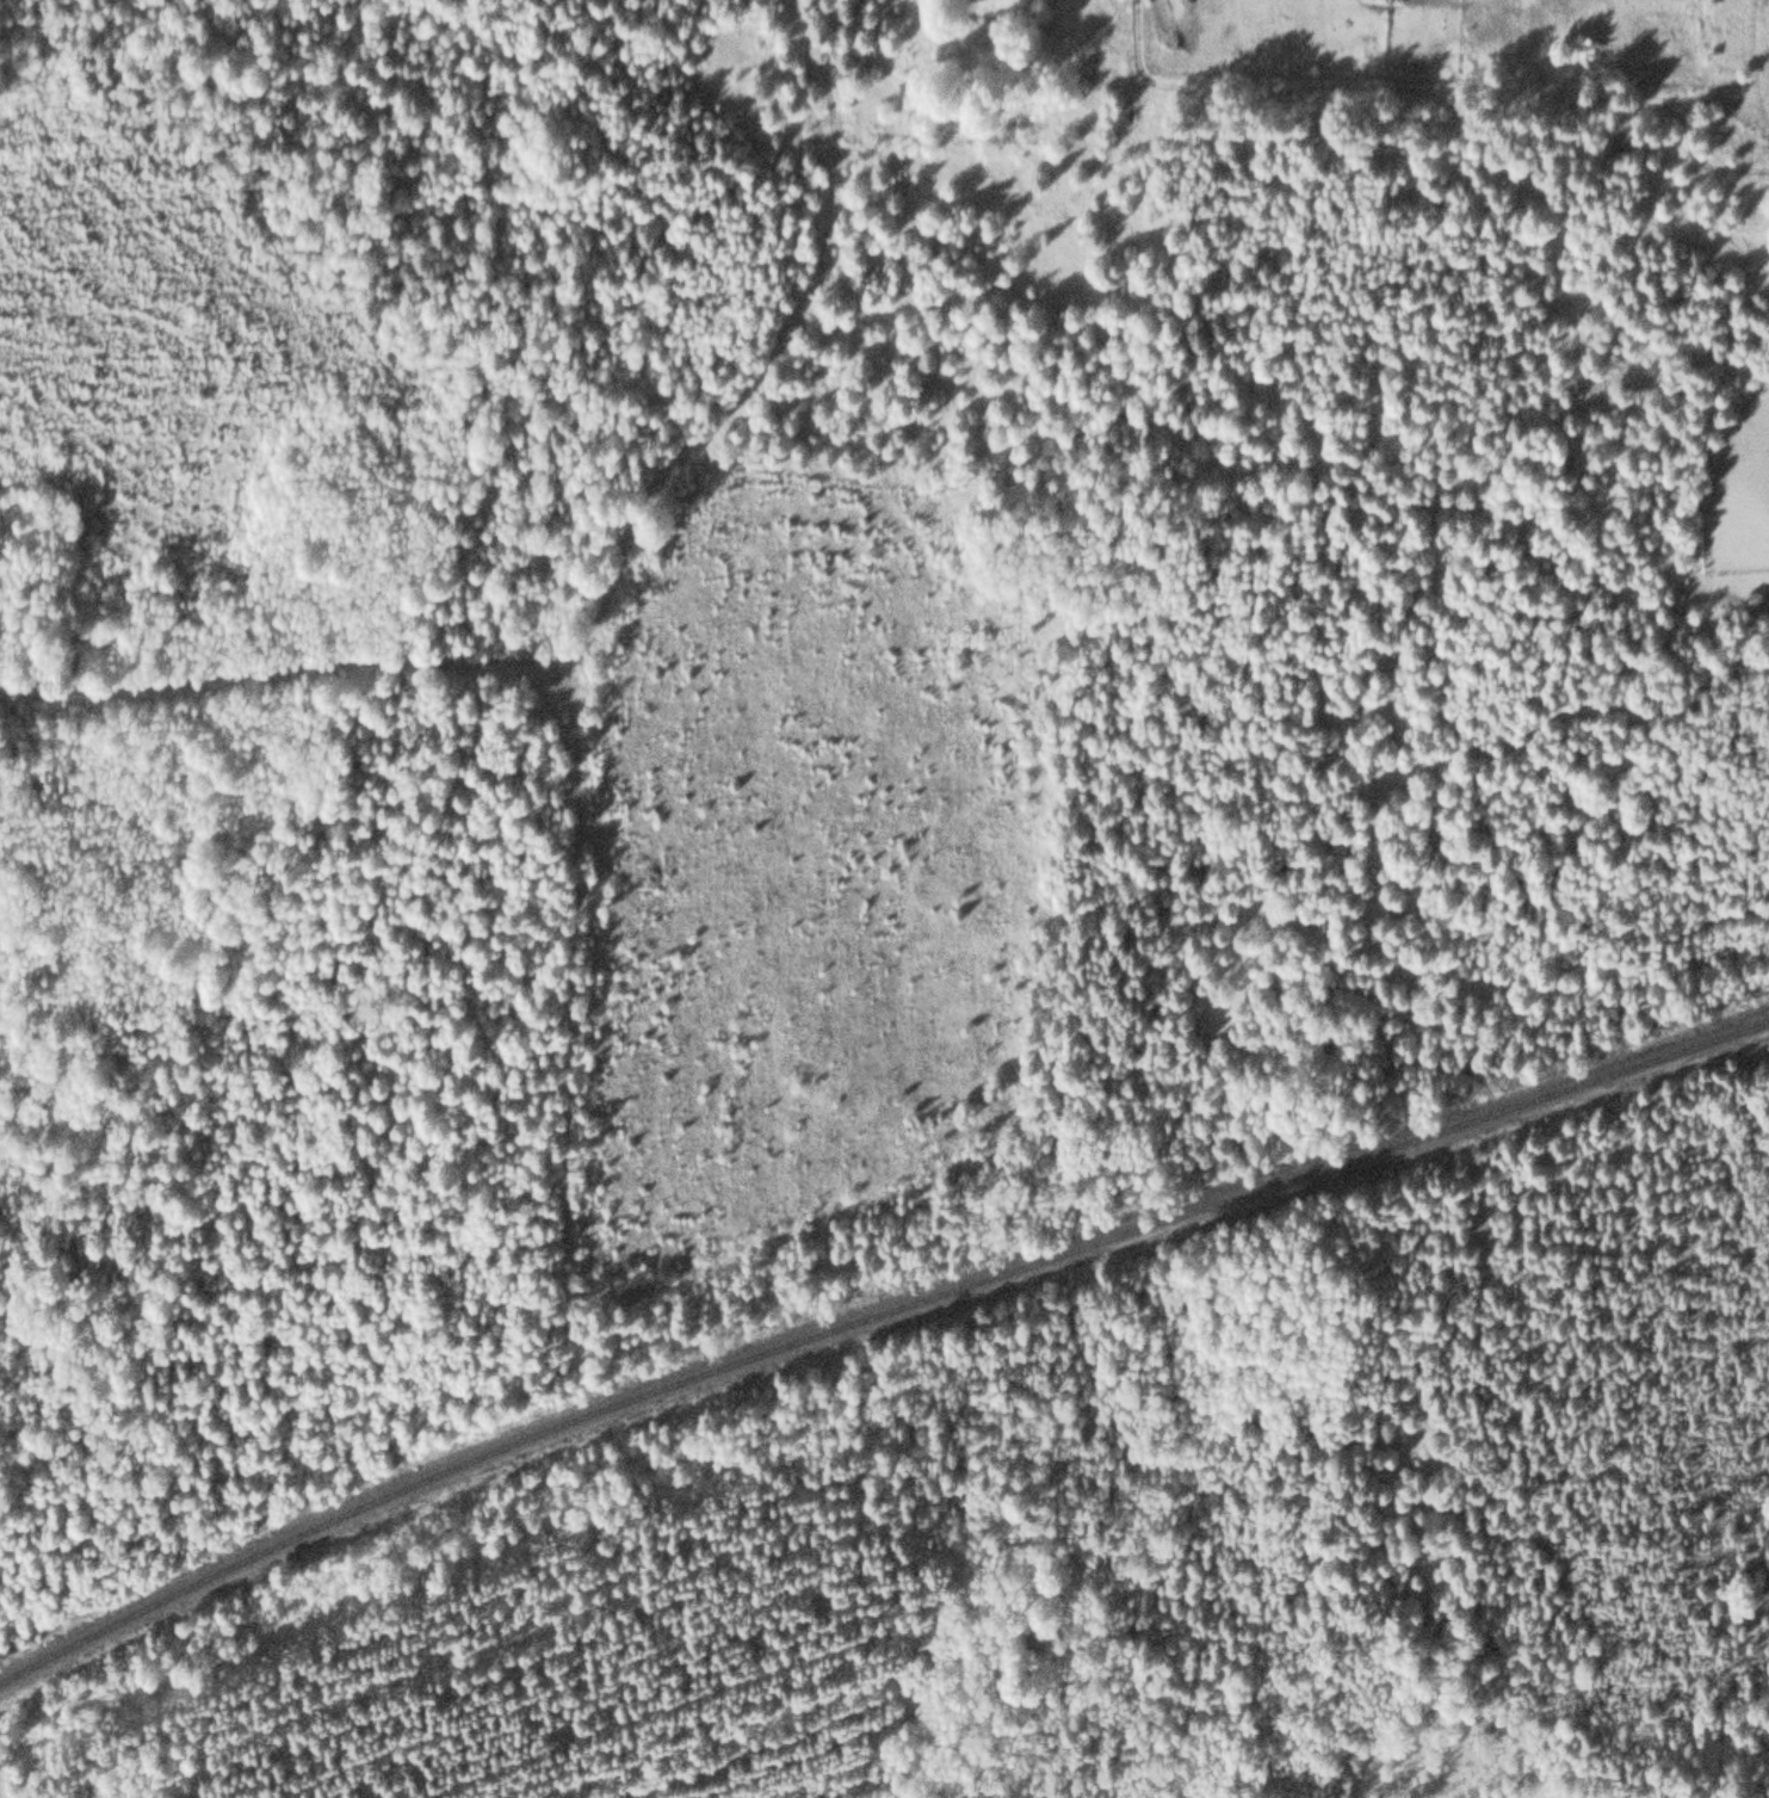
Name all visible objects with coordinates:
railway: (871, 1314)

